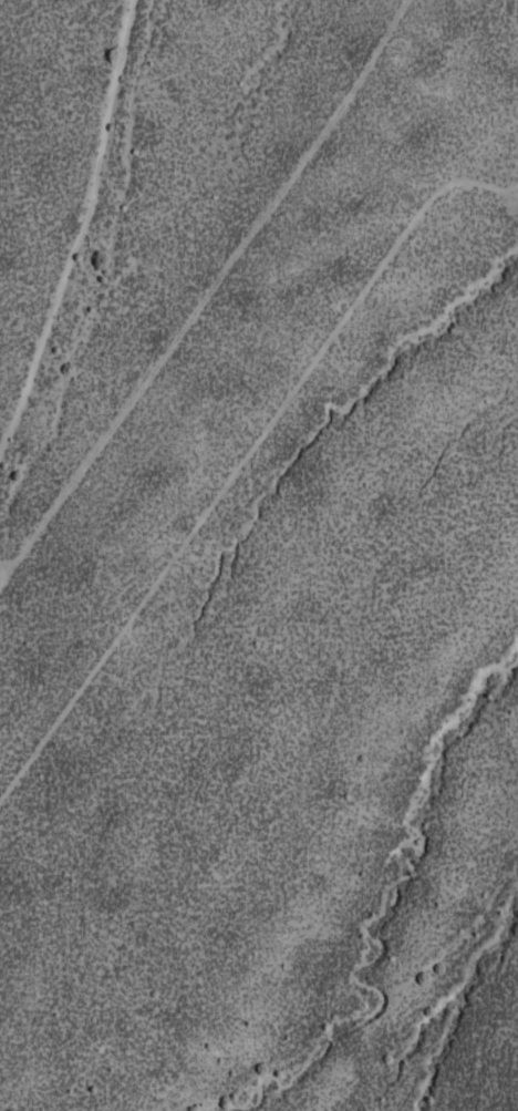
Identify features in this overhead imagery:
road: (65, 230)

